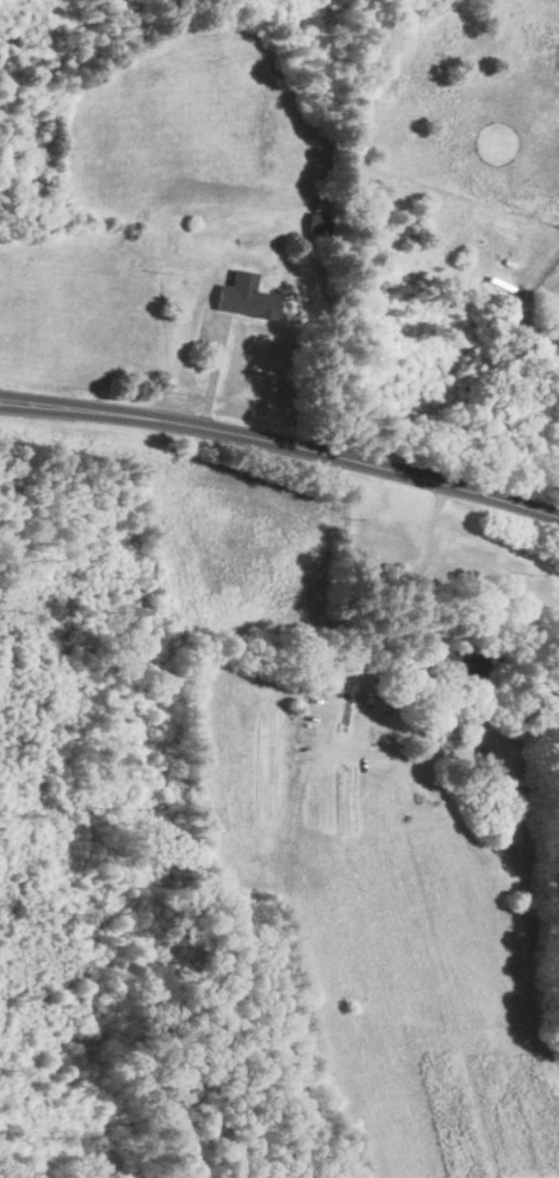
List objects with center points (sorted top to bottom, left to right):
building: (321, 205)
building: (246, 296)
road: (522, 307)
road: (282, 442)
road: (422, 563)
building: (455, 665)

